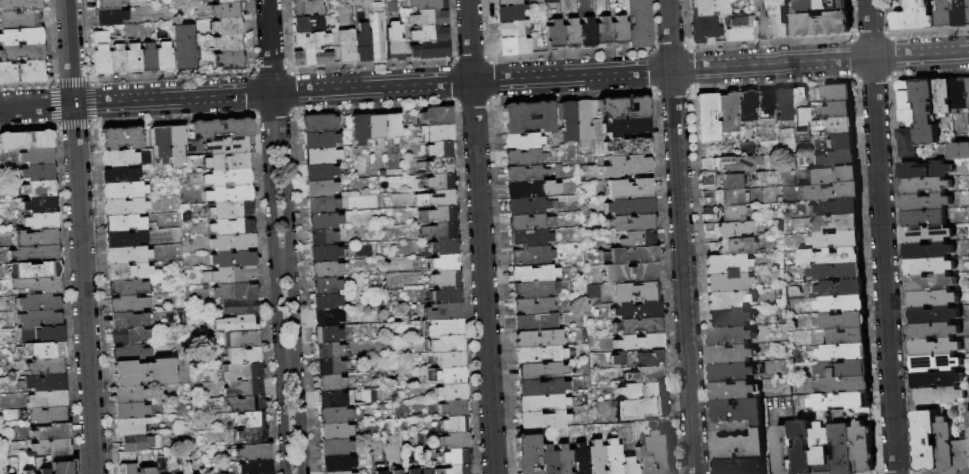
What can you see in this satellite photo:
building: (295, 0)
building: (697, 0)
building: (226, 1)
building: (508, 2)
building: (968, 2)
building: (108, 4)
building: (427, 4)
building: (19, 5)
building: (822, 6)
building: (709, 7)
building: (306, 8)
building: (226, 10)
building: (510, 12)
building: (960, 13)
building: (944, 14)
building: (110, 17)
building: (913, 17)
building: (429, 18)
building: (19, 20)
building: (761, 20)
building: (779, 20)
building: (637, 23)
building: (307, 24)
building: (820, 25)
building: (227, 26)
building: (704, 28)
building: (739, 28)
building: (510, 29)
building: (619, 30)
building: (587, 31)
building: (603, 31)
building: (377, 32)
building: (571, 32)
building: (554, 33)
building: (429, 34)
building: (20, 36)
building: (310, 39)
building: (394, 41)
road: (469, 41)
building: (226, 42)
building: (362, 43)
building: (514, 44)
road: (269, 46)
building: (346, 46)
building: (183, 47)
building: (431, 50)
building: (22, 52)
road: (70, 52)
building: (100, 53)
building: (302, 56)
building: (163, 57)
building: (148, 58)
building: (321, 58)
building: (117, 59)
building: (132, 59)
building: (225, 60)
building: (22, 72)
road: (521, 79)
building: (967, 91)
building: (837, 93)
building: (904, 95)
building: (958, 95)
building: (941, 97)
building: (798, 98)
building: (767, 101)
building: (782, 104)
road: (36, 106)
building: (746, 106)
road: (273, 107)
building: (622, 107)
building: (839, 110)
building: (727, 112)
building: (925, 113)
building: (436, 116)
building: (528, 116)
building: (707, 118)
building: (800, 118)
building: (907, 118)
building: (568, 121)
building: (318, 123)
building: (585, 124)
building: (625, 125)
building: (390, 126)
building: (840, 126)
building: (220, 127)
building: (374, 127)
building: (358, 129)
building: (422, 129)
building: (438, 133)
building: (167, 136)
building: (120, 138)
building: (40, 139)
building: (13, 140)
building: (321, 140)
building: (395, 140)
building: (523, 141)
building: (841, 142)
building: (907, 143)
building: (227, 145)
building: (626, 146)
building: (439, 149)
building: (959, 151)
building: (161, 155)
building: (176, 155)
building: (37, 156)
building: (322, 156)
building: (120, 157)
building: (524, 158)
building: (834, 158)
building: (227, 161)
building: (420, 164)
building: (439, 164)
building: (731, 164)
building: (626, 166)
building: (924, 170)
building: (37, 172)
building: (319, 172)
building: (120, 174)
building: (525, 174)
building: (831, 175)
building: (228, 178)
building: (707, 180)
building: (436, 181)
building: (728, 181)
building: (924, 186)
building: (38, 188)
building: (320, 188)
building: (531, 189)
building: (629, 189)
building: (124, 190)
building: (828, 192)
building: (229, 194)
building: (711, 194)
building: (731, 197)
building: (435, 198)
building: (925, 203)
building: (39, 204)
building: (554, 204)
building: (321, 205)
building: (125, 206)
building: (527, 206)
building: (629, 206)
building: (834, 208)
building: (230, 210)
building: (732, 213)
building: (438, 214)
building: (924, 218)
building: (41, 221)
building: (324, 221)
building: (529, 222)
building: (630, 222)
building: (124, 223)
building: (835, 223)
building: (232, 226)
building: (730, 229)
building: (439, 230)
building: (927, 234)
road: (681, 236)
road: (882, 236)
building: (322, 237)
building: (35, 238)
building: (531, 238)
building: (638, 238)
building: (125, 239)
building: (836, 240)
building: (232, 242)
building: (442, 246)
building: (730, 246)
building: (927, 251)
building: (34, 253)
building: (325, 253)
building: (598, 253)
building: (128, 254)
building: (633, 254)
building: (530, 255)
building: (604, 256)
building: (830, 257)
building: (233, 259)
building: (444, 262)
road: (282, 263)
building: (427, 264)
building: (725, 264)
building: (928, 267)
building: (327, 269)
building: (33, 270)
building: (128, 271)
building: (629, 272)
building: (836, 272)
building: (534, 273)
building: (233, 276)
road: (482, 278)
building: (445, 279)
building: (726, 282)
building: (929, 284)
building: (37, 285)
building: (325, 285)
building: (127, 287)
building: (536, 288)
building: (839, 288)
road: (83, 289)
building: (235, 292)
building: (635, 292)
building: (598, 294)
building: (446, 295)
road: (293, 296)
road: (275, 297)
building: (932, 299)
building: (729, 300)
building: (326, 301)
building: (39, 303)
building: (128, 304)
building: (841, 304)
building: (240, 306)
building: (535, 306)
building: (636, 310)
building: (443, 312)
building: (932, 316)
building: (327, 318)
building: (729, 318)
building: (40, 319)
building: (128, 320)
building: (843, 321)
building: (536, 322)
building: (237, 323)
building: (637, 325)
building: (444, 328)
building: (933, 331)
building: (327, 334)
building: (42, 335)
building: (129, 335)
building: (729, 336)
building: (847, 336)
building: (241, 338)
building: (539, 338)
building: (639, 342)
building: (446, 343)
building: (934, 348)
building: (41, 350)
building: (328, 350)
building: (844, 352)
building: (130, 353)
building: (540, 354)
building: (731, 354)
building: (244, 355)
building: (450, 358)
building: (635, 358)
road: (288, 359)
building: (935, 364)
building: (46, 366)
building: (329, 366)
building: (540, 370)
building: (845, 370)
building: (242, 371)
building: (144, 372)
building: (731, 372)
building: (645, 374)
building: (448, 376)
building: (626, 377)
building: (936, 380)
building: (330, 382)
building: (43, 383)
building: (845, 385)
building: (541, 386)
building: (243, 388)
building: (642, 390)
building: (733, 390)
building: (450, 392)
building: (129, 394)
building: (938, 396)
building: (47, 399)
building: (336, 399)
building: (841, 401)
building: (541, 402)
building: (244, 403)
building: (452, 408)
building: (641, 408)
building: (130, 410)
building: (738, 412)
building: (45, 414)
building: (334, 414)
building: (968, 418)
building: (249, 419)
building: (542, 419)
building: (453, 424)
building: (129, 426)
building: (335, 430)
building: (51, 431)
building: (251, 435)
building: (454, 440)
building: (925, 441)
building: (138, 442)
building: (946, 445)
building: (51, 447)
building: (335, 447)
building: (740, 447)
building: (804, 447)
building: (844, 448)
building: (862, 448)
building: (823, 449)
building: (784, 450)
building: (253, 452)
building: (663, 452)
building: (962, 453)
building: (526, 454)
building: (126, 456)
building: (455, 456)
building: (611, 456)
building: (594, 457)
building: (643, 457)
building: (145, 458)
building: (546, 459)
building: (562, 459)
building: (579, 459)
building: (337, 463)
building: (62, 464)
building: (627, 465)
building: (255, 467)
building: (740, 467)
building: (126, 469)
building: (456, 469)
building: (146, 470)
building: (43, 471)
building: (412, 471)
building: (26, 472)
building: (336, 472)
building: (379, 472)
building: (396, 472)
building: (352, 473)

